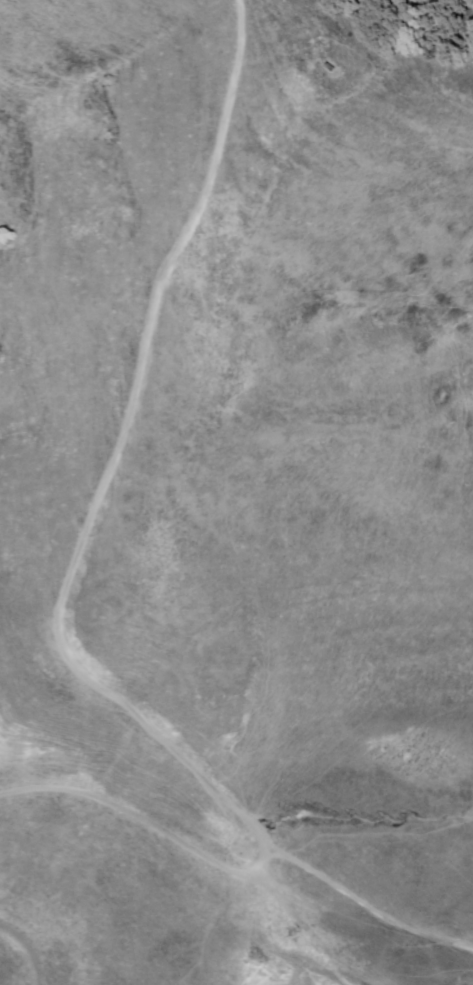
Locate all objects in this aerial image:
road: (77, 564)
road: (148, 822)
road: (34, 945)

